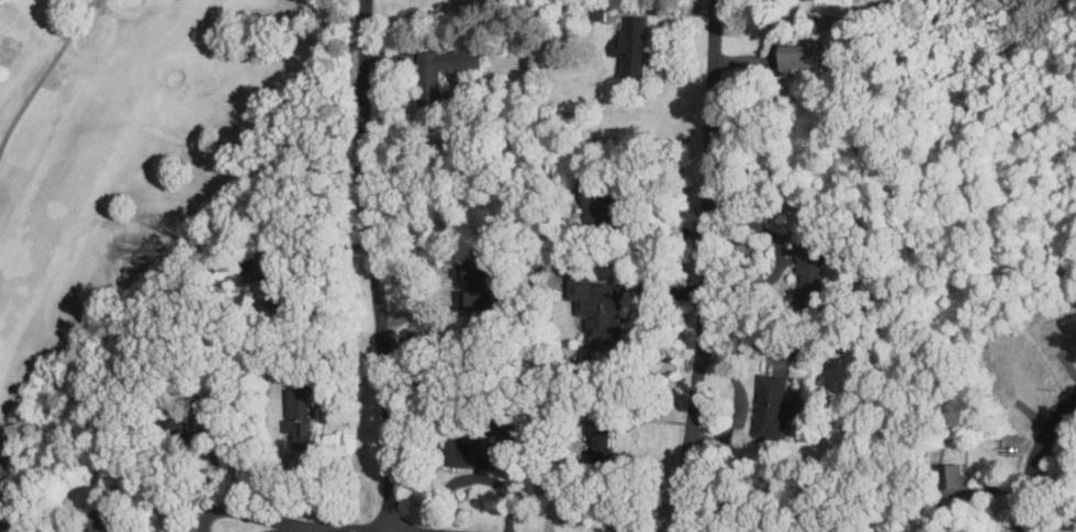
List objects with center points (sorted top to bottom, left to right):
road: (730, 5)
building: (631, 46)
building: (798, 57)
road: (45, 72)
building: (427, 89)
park: (123, 159)
building: (604, 201)
road: (782, 254)
road: (373, 265)
road: (705, 267)
building: (269, 274)
building: (807, 274)
building: (477, 283)
building: (597, 310)
building: (778, 364)
road: (736, 404)
building: (769, 405)
building: (182, 417)
building: (301, 417)
building: (601, 435)
building: (479, 453)
road: (1034, 460)
road: (244, 513)
building: (100, 521)
road: (171, 529)
road: (292, 530)
road: (335, 530)

